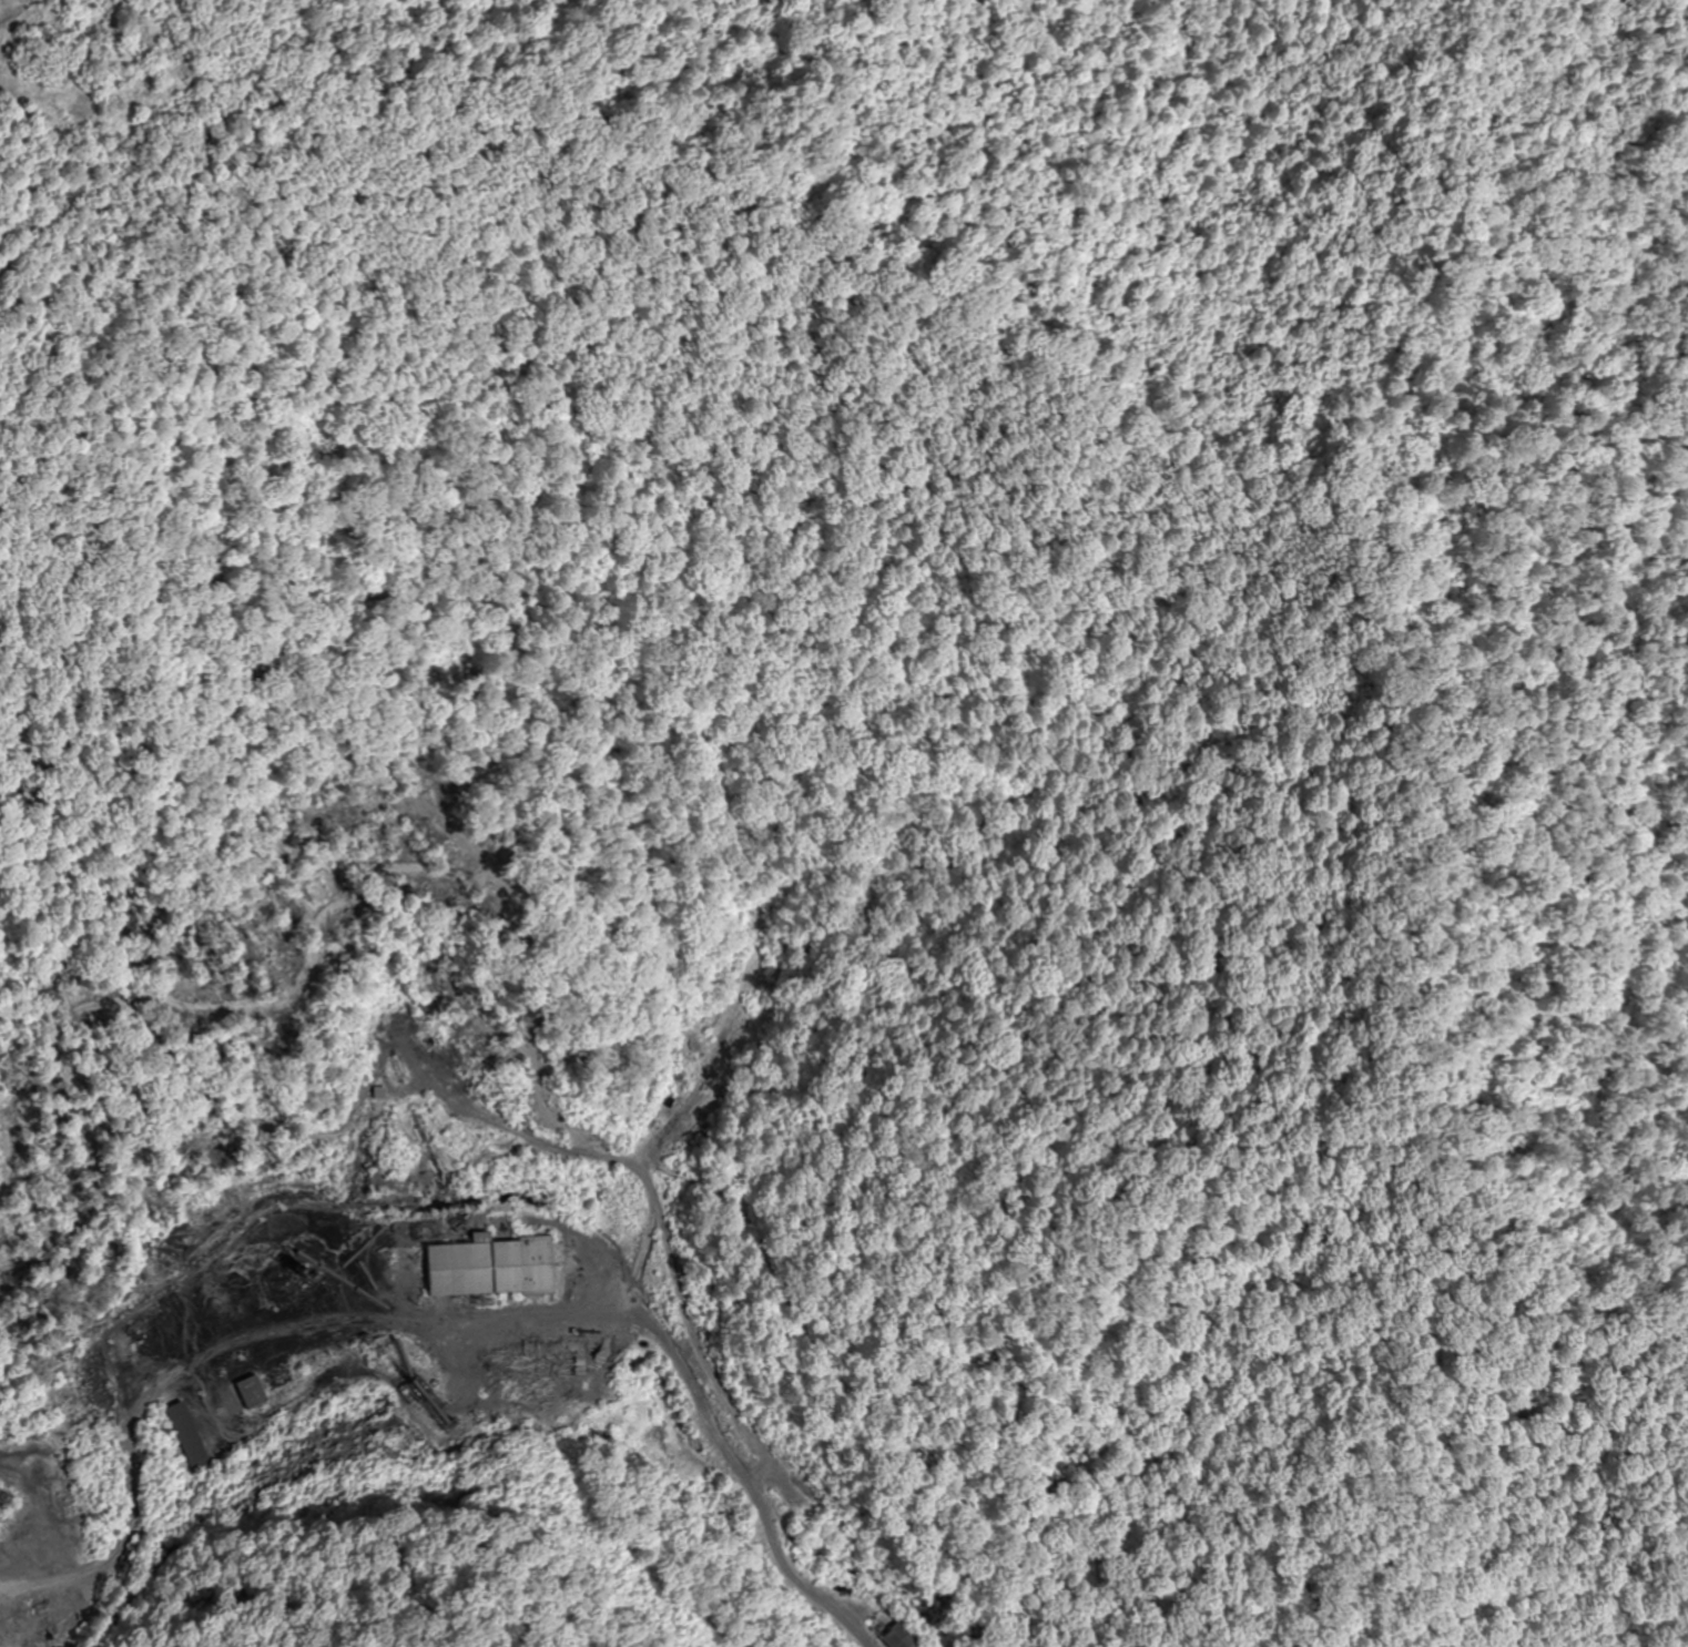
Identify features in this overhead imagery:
building: (692, 1044)
building: (485, 1262)
building: (244, 1392)
road: (557, 1406)
building: (183, 1436)
building: (795, 1481)
building: (893, 1631)

